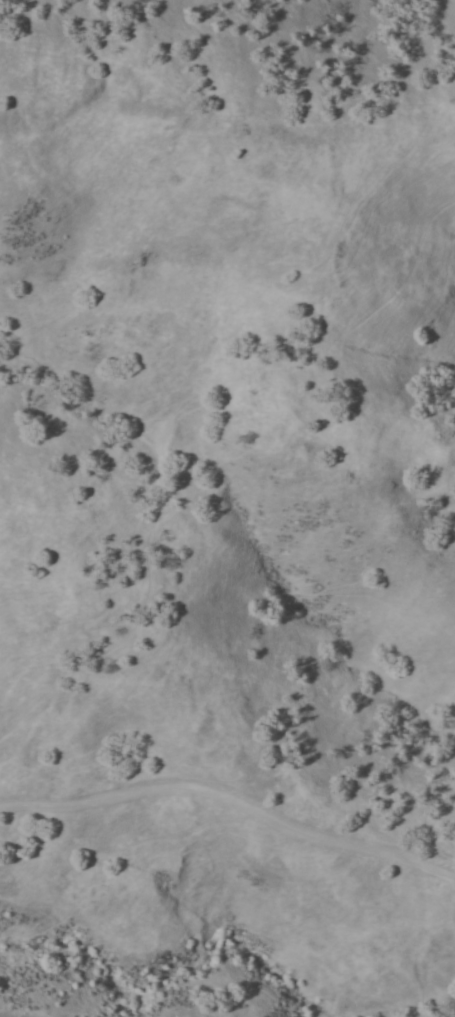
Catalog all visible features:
road: (232, 796)

